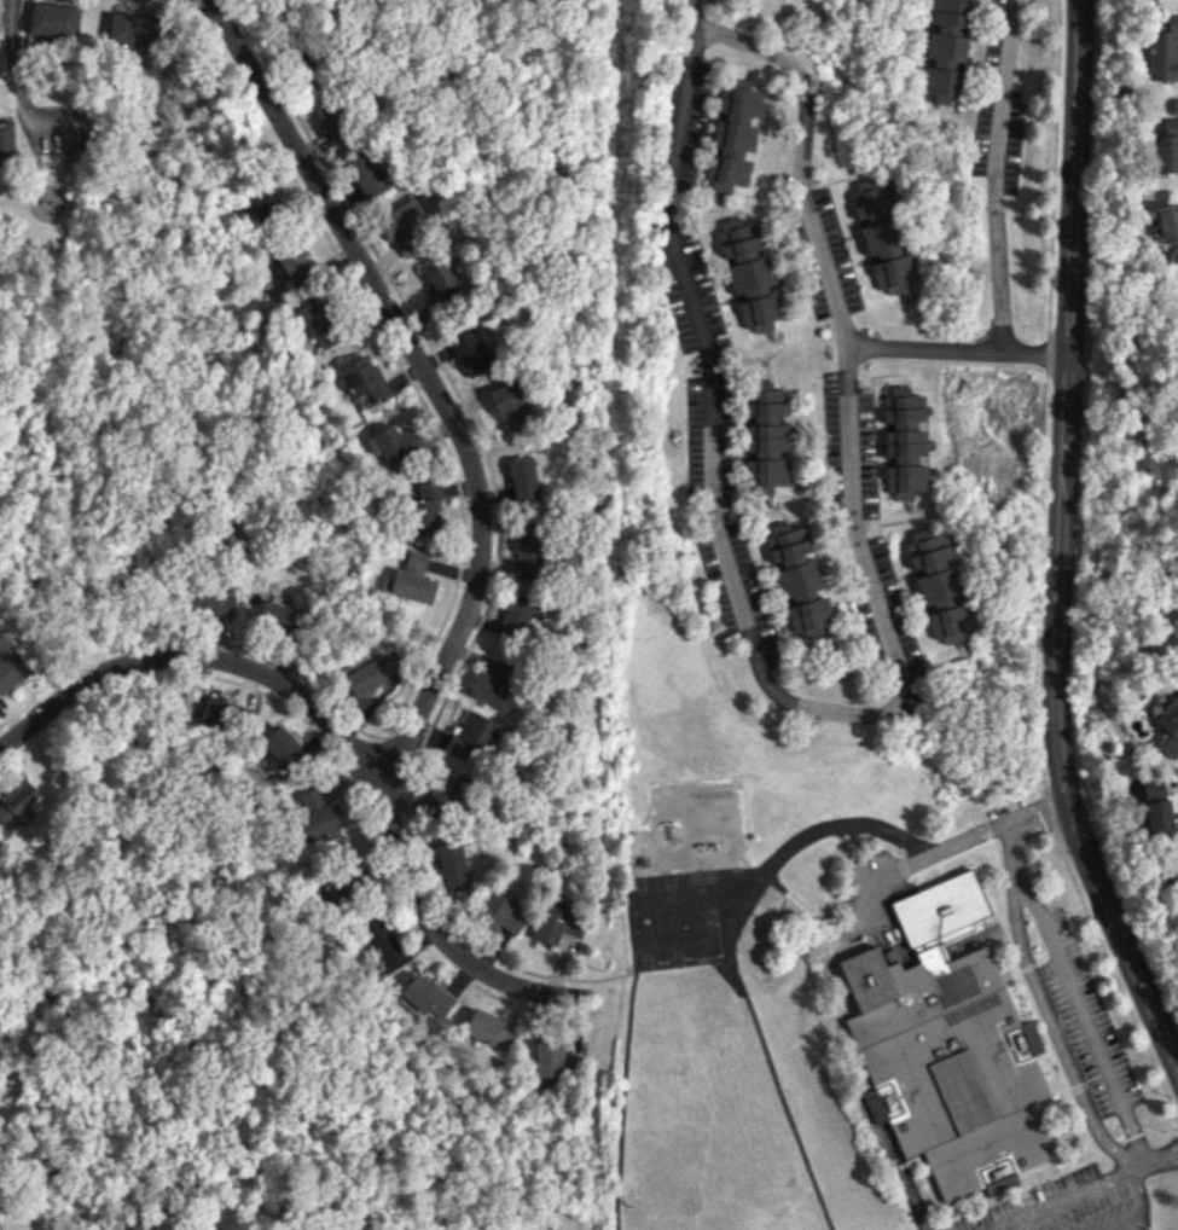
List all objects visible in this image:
road: (703, 1)
building: (52, 19)
building: (128, 29)
building: (947, 30)
road: (18, 45)
building: (1164, 48)
road: (731, 60)
building: (940, 83)
road: (715, 114)
building: (331, 121)
building: (733, 134)
building: (6, 140)
building: (1166, 147)
road: (709, 149)
road: (1054, 168)
building: (367, 173)
road: (996, 174)
building: (263, 199)
road: (702, 208)
building: (405, 225)
building: (1167, 225)
building: (881, 239)
building: (296, 267)
building: (750, 274)
building: (440, 283)
building: (1176, 286)
building: (1177, 308)
building: (317, 323)
road: (958, 348)
road: (847, 350)
building: (469, 352)
road: (1046, 353)
road: (426, 373)
building: (364, 378)
road: (712, 388)
building: (506, 400)
building: (901, 405)
building: (765, 436)
building: (394, 445)
building: (904, 462)
building: (524, 478)
building: (424, 506)
road: (1062, 546)
building: (527, 551)
building: (416, 561)
building: (797, 576)
road: (1038, 580)
building: (412, 585)
building: (938, 587)
building: (211, 603)
building: (277, 614)
building: (516, 615)
building: (10, 665)
building: (370, 673)
building: (494, 686)
building: (225, 709)
building: (1170, 727)
road: (342, 730)
building: (470, 733)
building: (279, 744)
building: (446, 790)
building: (18, 805)
building: (1156, 807)
road: (1038, 810)
road: (1050, 811)
road: (916, 860)
building: (452, 864)
building: (1174, 872)
building: (335, 893)
building: (501, 913)
building: (557, 922)
building: (381, 939)
road: (1116, 980)
building: (426, 996)
road: (1079, 1005)
building: (488, 1028)
road: (1054, 1031)
building: (947, 1044)
building: (547, 1058)
road: (1139, 1164)
road: (1077, 1193)
road: (1142, 1208)
road: (1026, 1225)

